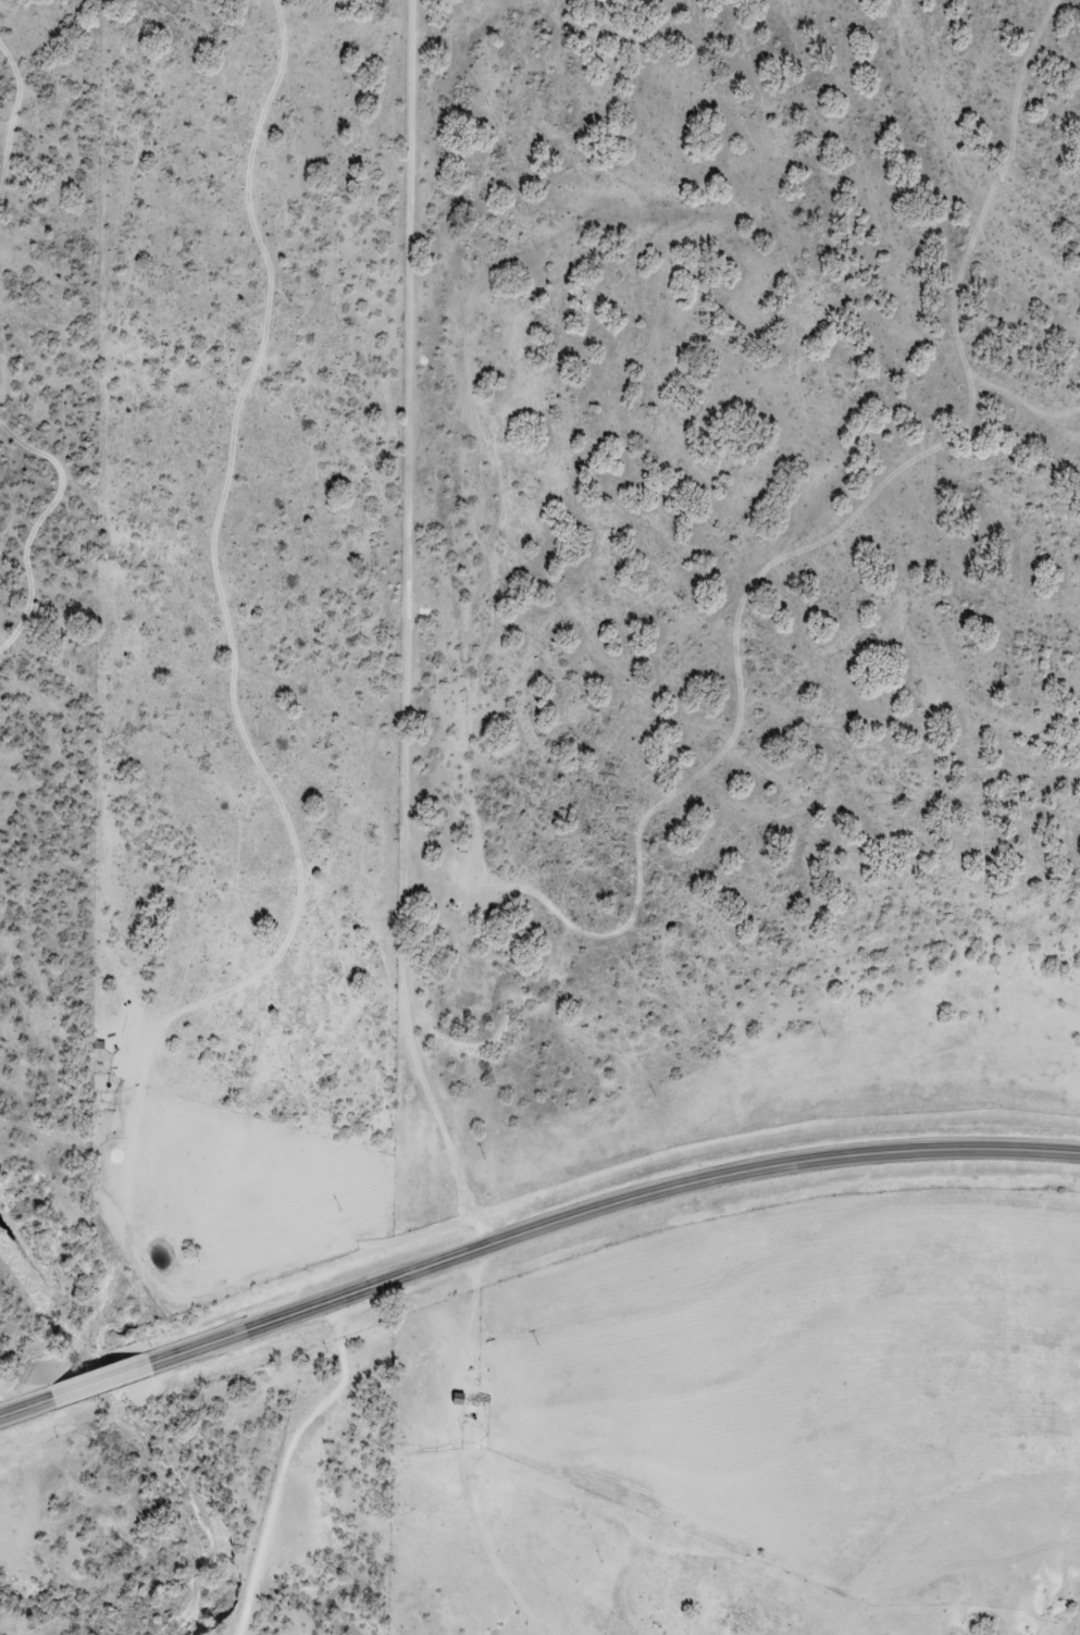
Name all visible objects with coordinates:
road: (479, 645)
road: (606, 1204)
building: (116, 1375)
road: (105, 1383)
road: (29, 1410)
road: (285, 1464)

